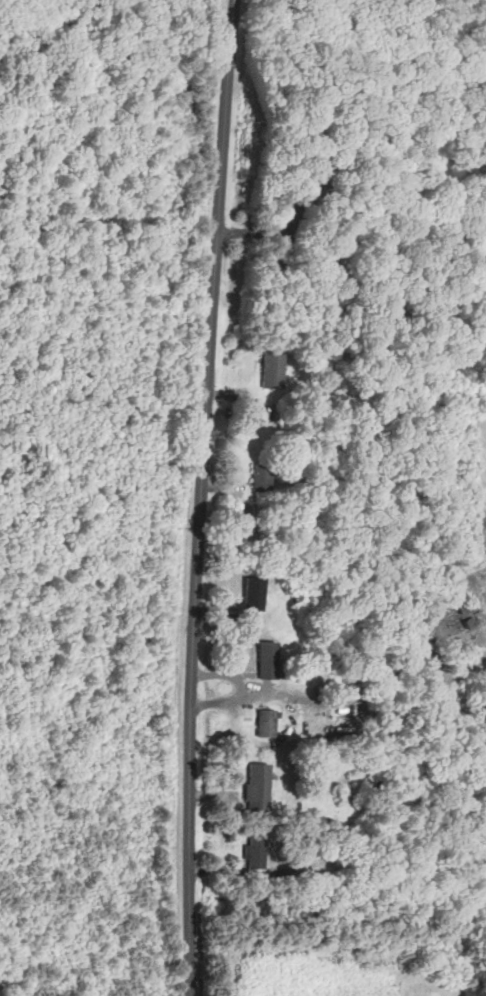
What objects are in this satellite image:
building: (343, 139)
building: (302, 199)
building: (485, 262)
building: (274, 368)
building: (255, 424)
building: (263, 477)
road: (200, 497)
building: (257, 526)
building: (469, 606)
building: (475, 621)
building: (270, 660)
building: (269, 723)
building: (346, 725)
building: (259, 787)
building: (338, 825)
building: (258, 852)

